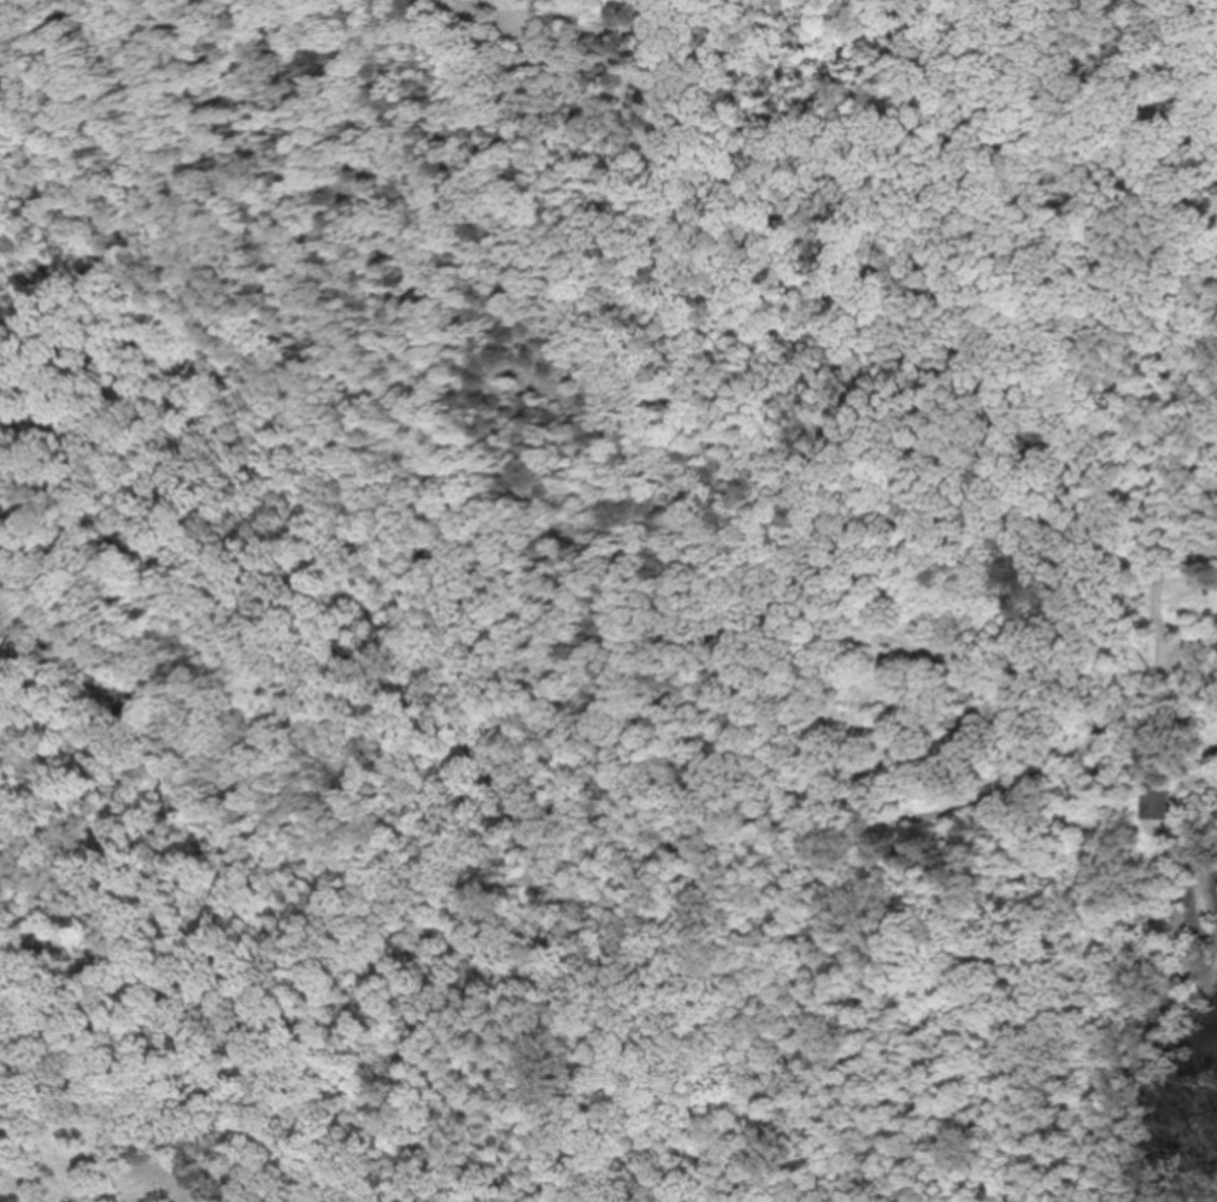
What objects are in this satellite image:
road: (484, 418)
road: (1154, 578)
park: (608, 601)
road: (484, 624)
road: (1192, 641)
road: (395, 664)
road: (281, 688)
road: (1040, 850)
road: (1097, 966)
road: (751, 1030)
road: (987, 1070)

